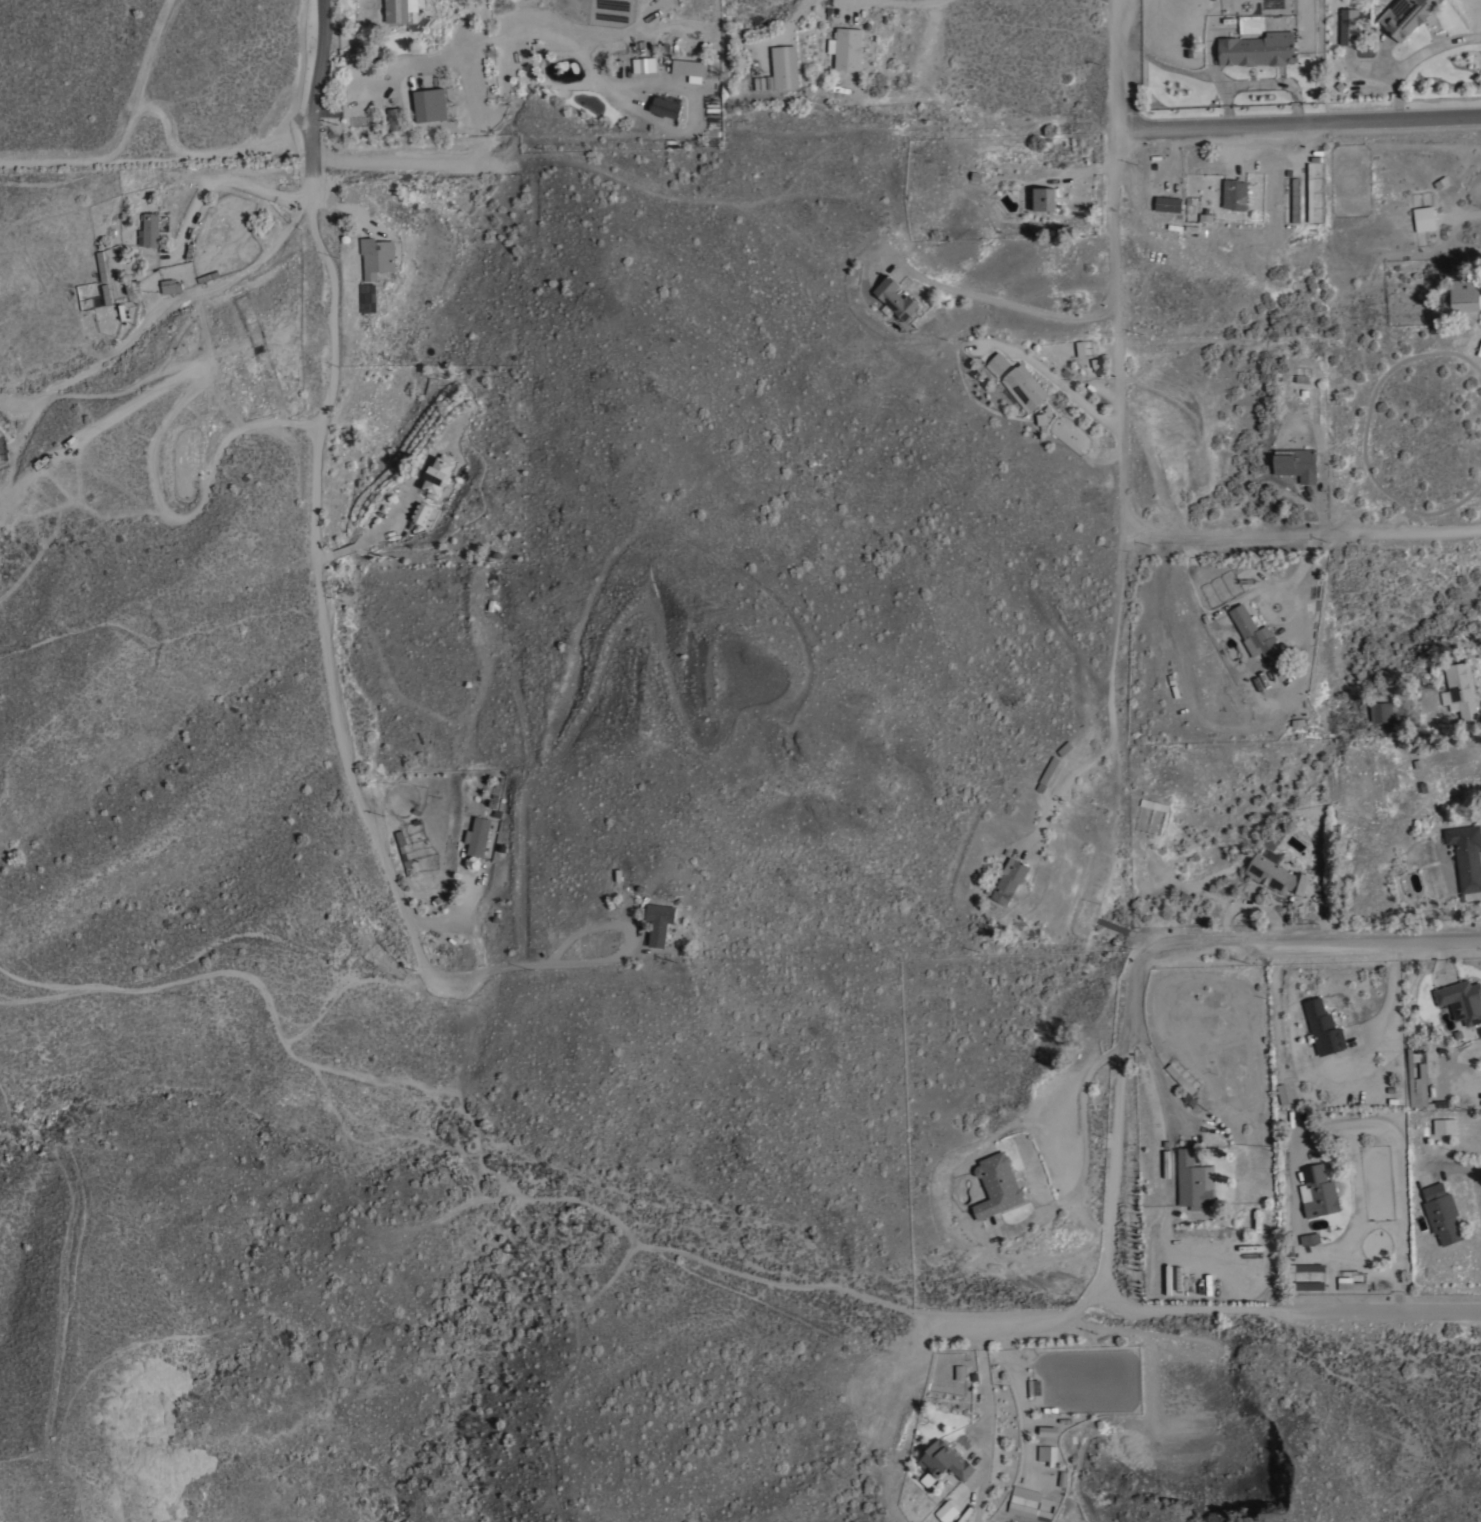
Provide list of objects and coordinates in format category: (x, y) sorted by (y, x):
road: (905, 2)
building: (400, 7)
road: (795, 14)
building: (1405, 16)
building: (1348, 26)
road: (574, 42)
building: (846, 48)
building: (1258, 49)
road: (1416, 57)
road: (475, 64)
building: (644, 65)
building: (784, 66)
building: (689, 67)
building: (430, 104)
building: (662, 108)
building: (394, 118)
road: (1299, 121)
road: (478, 137)
road: (399, 163)
road: (204, 193)
building: (1234, 194)
building: (1042, 198)
building: (1293, 201)
building: (1168, 203)
building: (1423, 218)
building: (150, 229)
building: (376, 256)
building: (172, 285)
building: (133, 286)
building: (1465, 295)
building: (364, 298)
building: (896, 298)
road: (1011, 301)
road: (197, 304)
building: (1080, 347)
building: (997, 363)
road: (1119, 371)
building: (1024, 386)
road: (1080, 396)
road: (163, 420)
building: (1296, 463)
building: (438, 475)
building: (425, 514)
road: (1304, 534)
road: (373, 540)
building: (1219, 588)
building: (1258, 635)
road: (327, 654)
building: (1461, 688)
building: (1381, 711)
building: (1064, 747)
building: (1046, 774)
road: (1066, 796)
building: (478, 835)
building: (403, 852)
building: (1466, 855)
building: (1276, 875)
building: (1009, 879)
building: (659, 922)
road: (1164, 936)
road: (1444, 947)
road: (1393, 984)
building: (1462, 1000)
road: (1274, 1004)
building: (1323, 1027)
road: (1152, 1051)
building: (1422, 1073)
building: (1180, 1078)
building: (1410, 1078)
building: (1284, 1094)
building: (1445, 1125)
road: (1389, 1126)
road: (1086, 1148)
road: (1458, 1170)
building: (1194, 1180)
building: (997, 1185)
building: (1318, 1191)
building: (1441, 1212)
building: (1257, 1218)
building: (1310, 1238)
building: (1305, 1267)
building: (1349, 1283)
building: (1306, 1285)
road: (1165, 1311)
road: (1382, 1311)
road: (990, 1335)
building: (957, 1372)
building: (1047, 1454)
building: (945, 1460)
building: (1026, 1492)
building: (944, 1511)
building: (1027, 1511)

